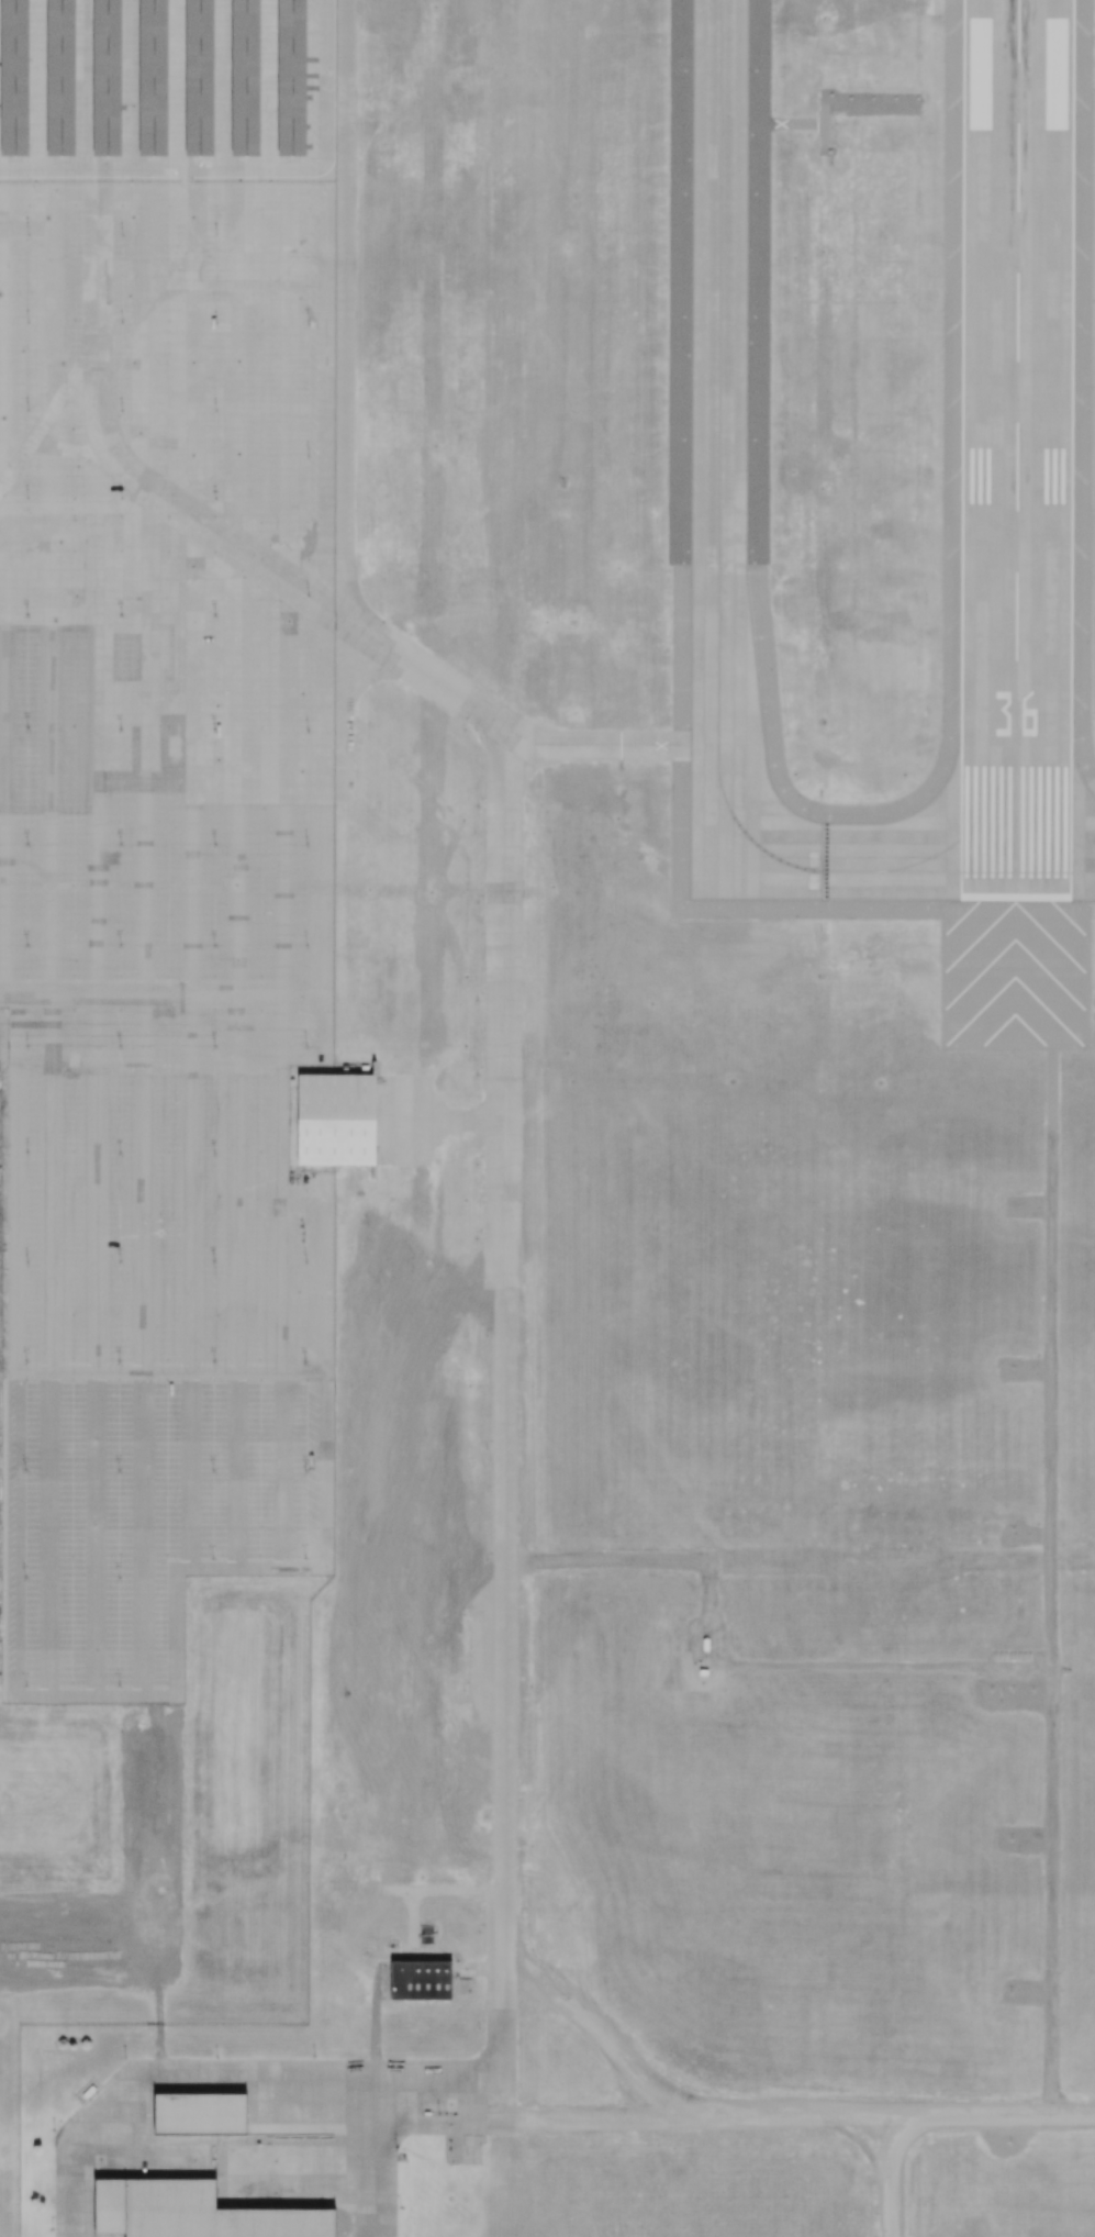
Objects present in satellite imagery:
building: (13, 77)
building: (59, 77)
building: (105, 77)
building: (244, 77)
road: (175, 82)
road: (36, 84)
road: (82, 84)
road: (130, 84)
road: (222, 84)
road: (268, 84)
road: (316, 102)
road: (328, 112)
road: (134, 166)
road: (282, 227)
street lamp: (30, 234)
street lamp: (122, 235)
street lamp: (215, 235)
street lamp: (30, 321)
street lamp: (122, 322)
street lamp: (216, 323)
road: (324, 350)
road: (344, 398)
street lamp: (29, 409)
street lamp: (122, 410)
street lamp: (216, 411)
airport runway: (1019, 449)
street lamp: (29, 497)
street lamp: (121, 498)
street lamp: (215, 499)
road: (160, 537)
airport taxiway: (717, 582)
road: (5, 594)
street lamp: (306, 596)
street lamp: (29, 613)
street lamp: (120, 615)
street lamp: (214, 615)
road: (49, 624)
road: (97, 624)
road: (142, 625)
road: (192, 625)
road: (237, 625)
airport taxiway: (431, 677)
parking lot: (166, 682)
street lamp: (29, 726)
street lamp: (121, 728)
street lamp: (213, 728)
street lamp: (308, 728)
airport taxiway: (616, 745)
road: (280, 799)
road: (321, 822)
airport taxiway: (1046, 822)
street lamp: (27, 843)
street lamp: (121, 843)
street lamp: (214, 843)
street lamp: (306, 844)
airport taxiway: (985, 871)
street lamp: (26, 944)
street lamp: (214, 944)
street lamp: (121, 945)
street lamp: (306, 945)
airport taxiway: (502, 1006)
road: (15, 1016)
street lamp: (27, 1045)
street lamp: (214, 1045)
street lamp: (305, 1045)
road: (3, 1054)
road: (203, 1055)
airport: (547, 1118)
building: (336, 1122)
street lamp: (29, 1151)
street lamp: (213, 1154)
road: (15, 1213)
road: (48, 1213)
road: (98, 1214)
road: (141, 1214)
road: (192, 1214)
road: (236, 1215)
street lamp: (214, 1260)
street lamp: (29, 1261)
street lamp: (306, 1261)
road: (277, 1277)
road: (325, 1277)
street lamp: (27, 1361)
street lamp: (120, 1361)
street lamp: (215, 1361)
street lamp: (304, 1362)
road: (145, 1373)
road: (1053, 1583)
building: (420, 1980)
building: (463, 1986)
road: (238, 2081)
building: (200, 2113)
road: (756, 2123)
road: (892, 2178)
building: (194, 2212)

